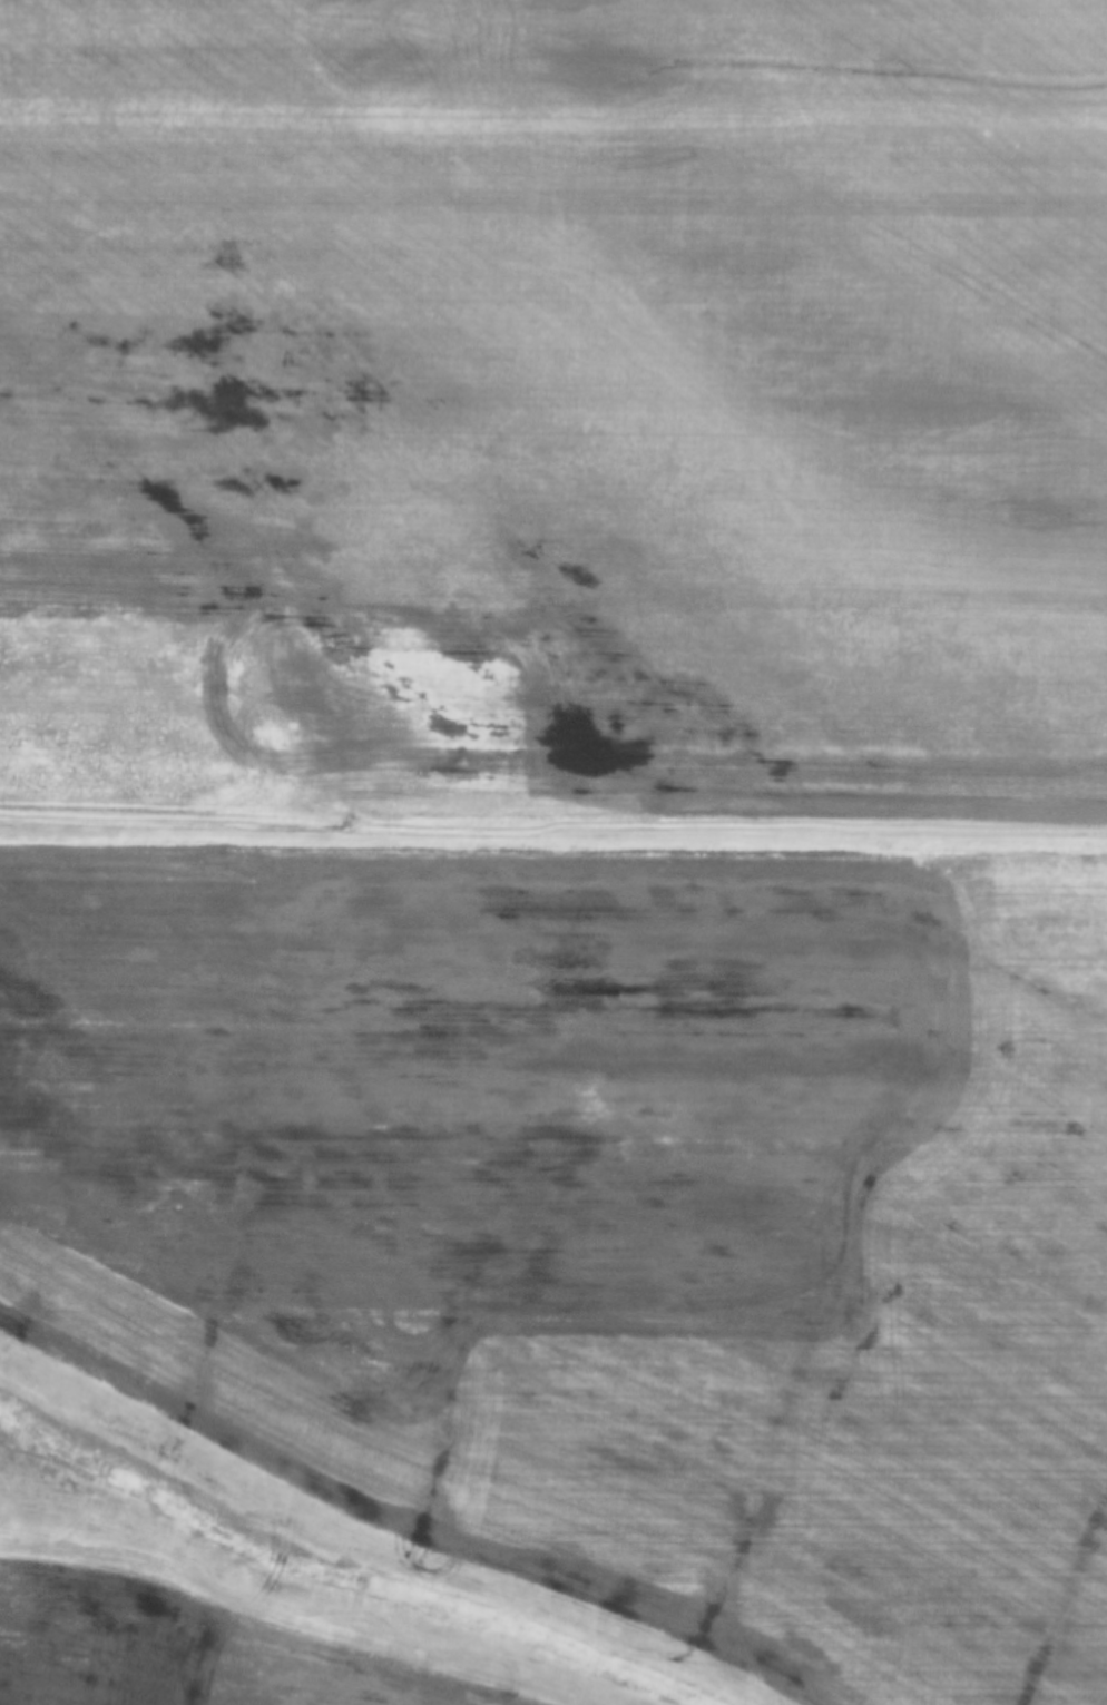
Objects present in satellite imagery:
road: (552, 859)

